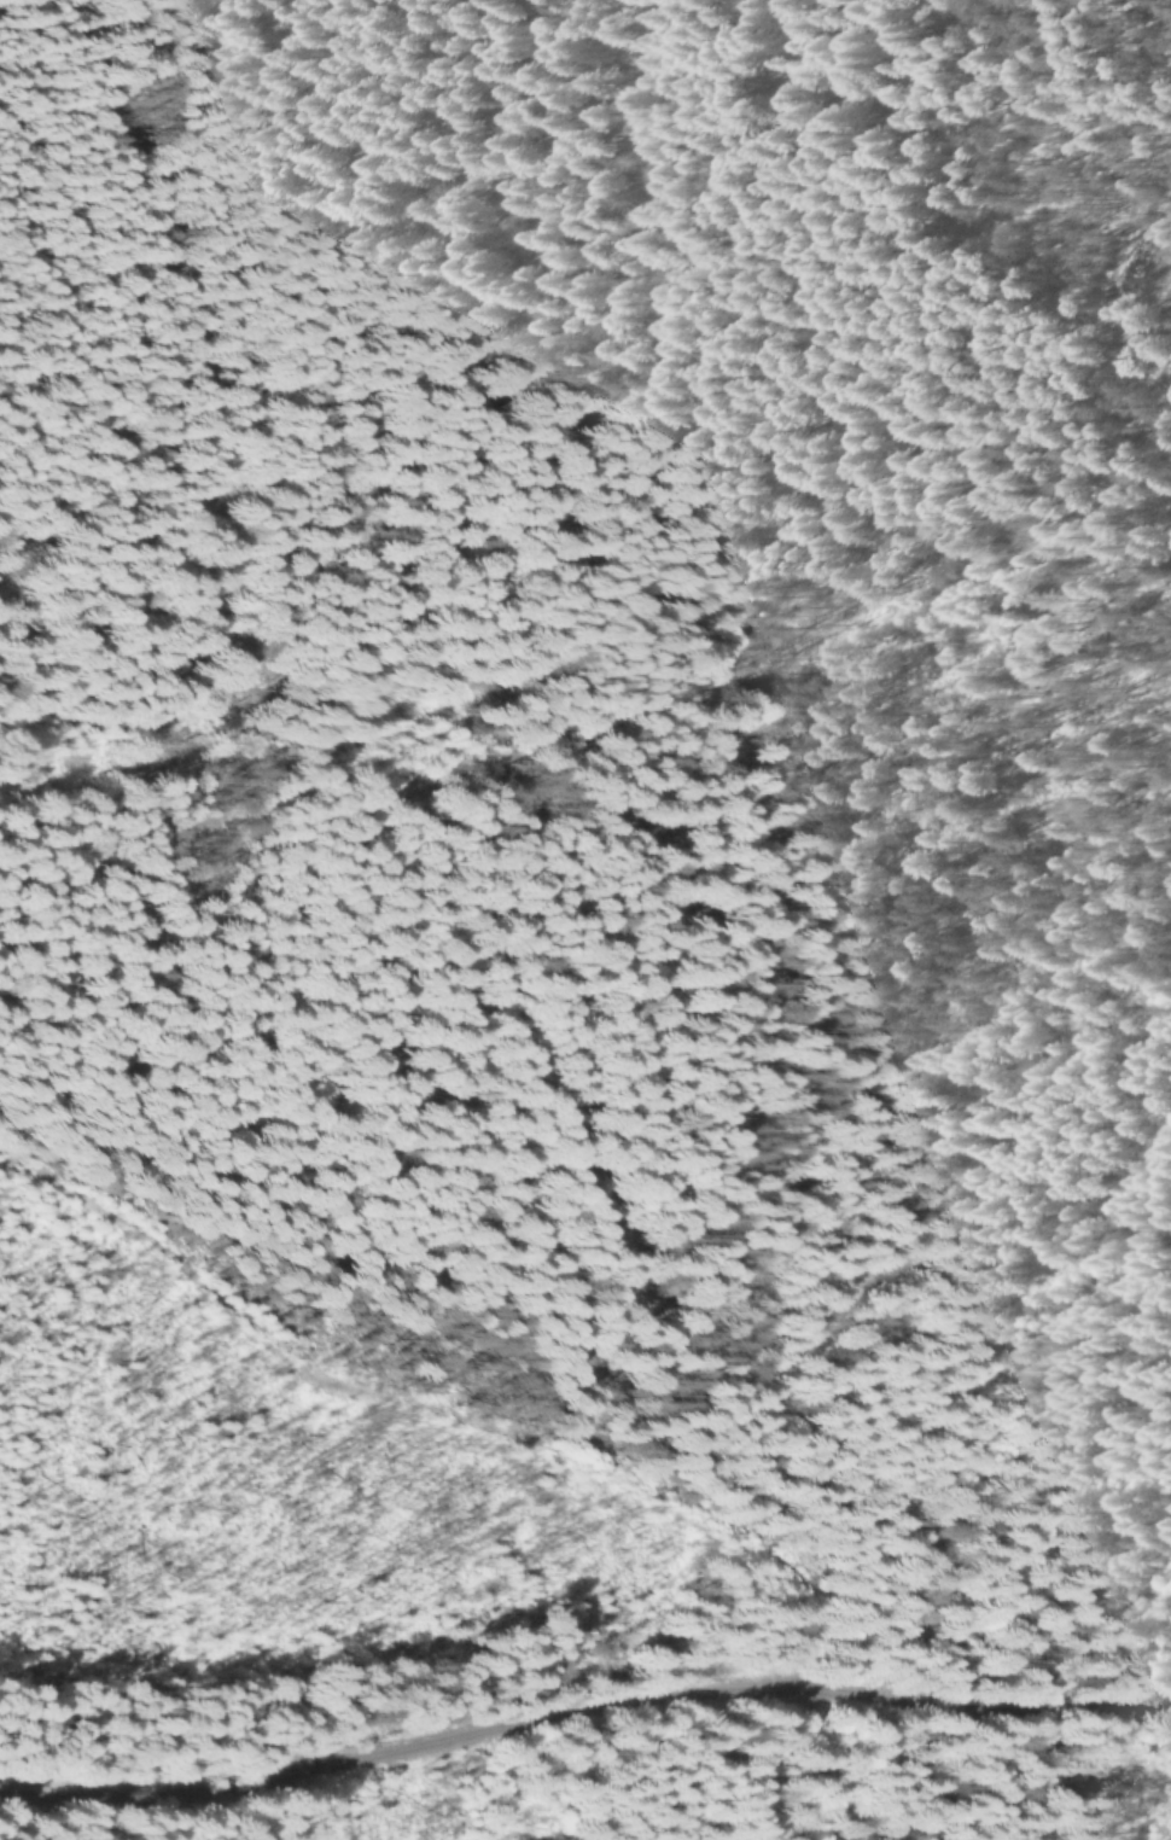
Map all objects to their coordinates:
road: (582, 1707)

